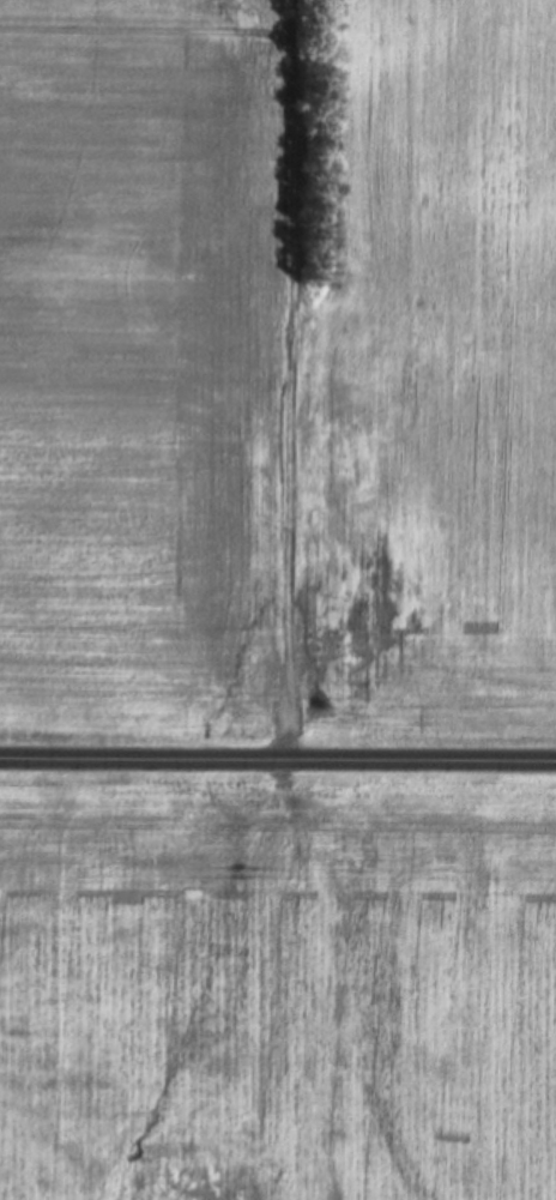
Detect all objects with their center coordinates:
road: (277, 756)

